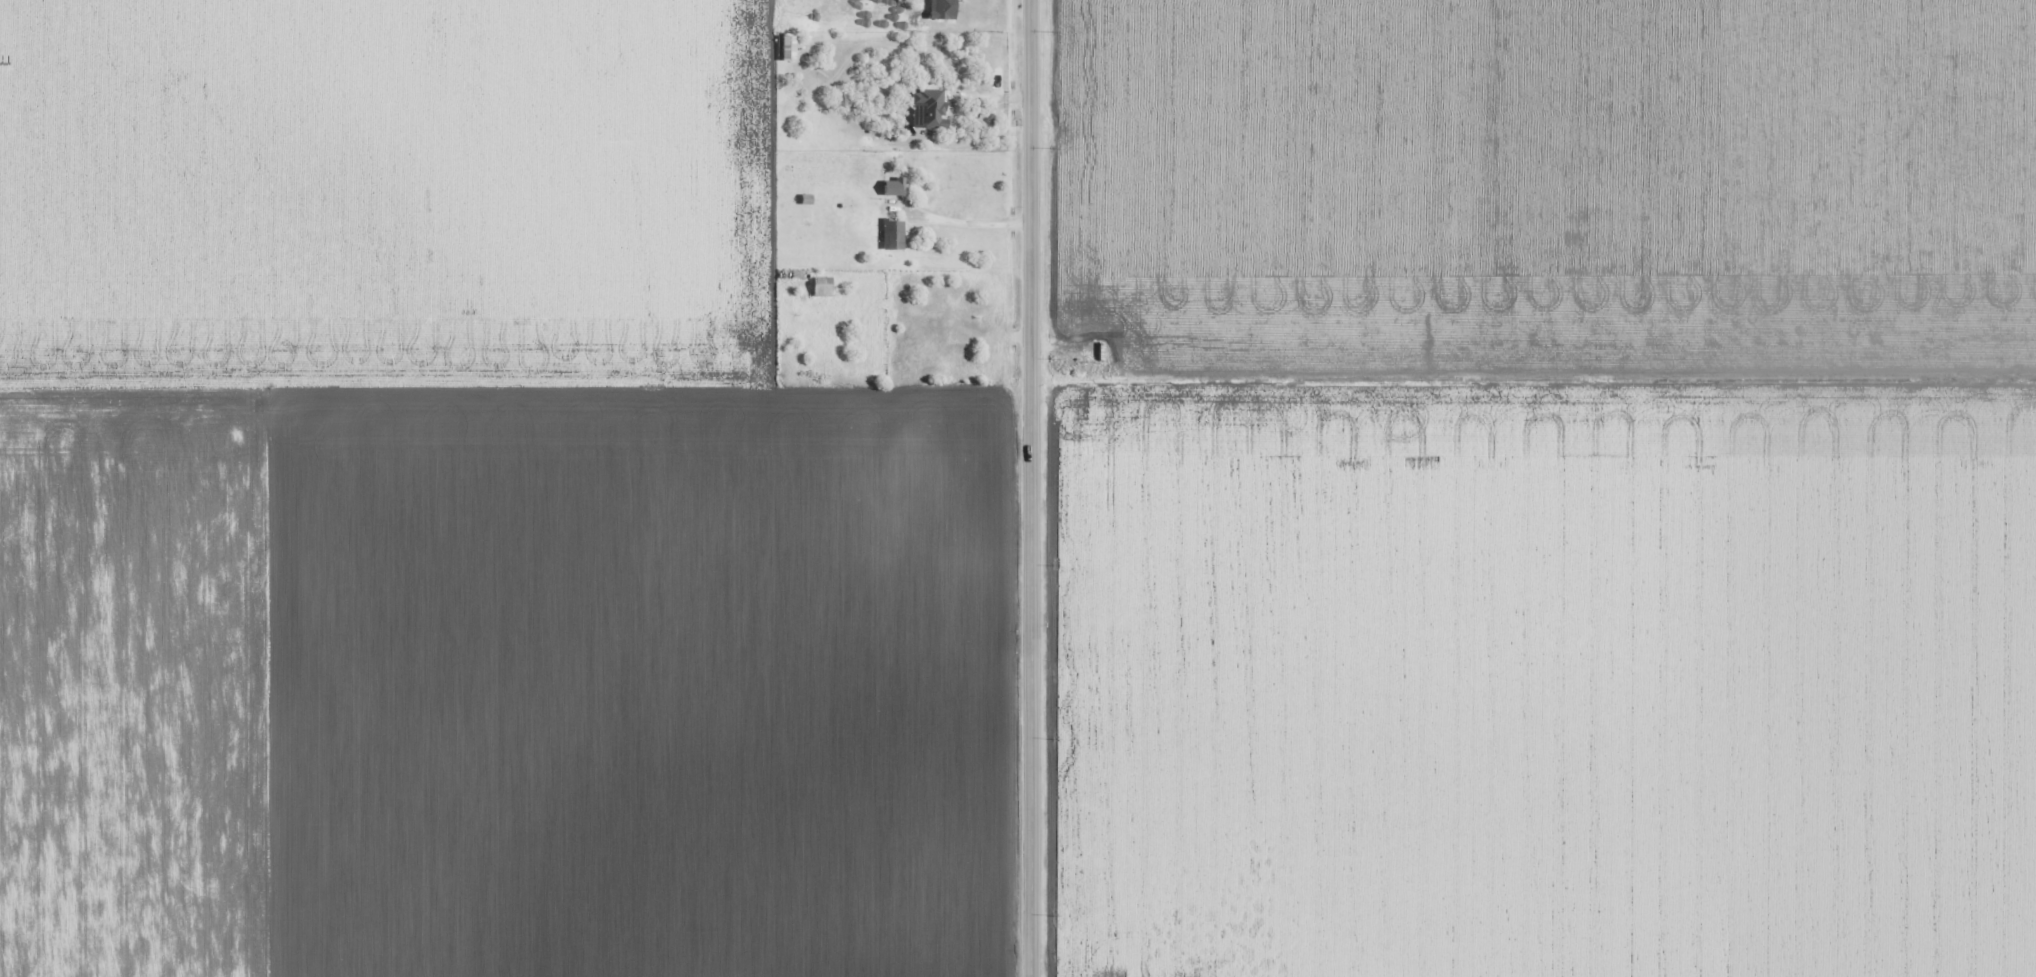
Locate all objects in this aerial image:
building: (940, 9)
building: (786, 47)
building: (930, 107)
building: (892, 185)
building: (892, 234)
building: (821, 287)
road: (1030, 488)

